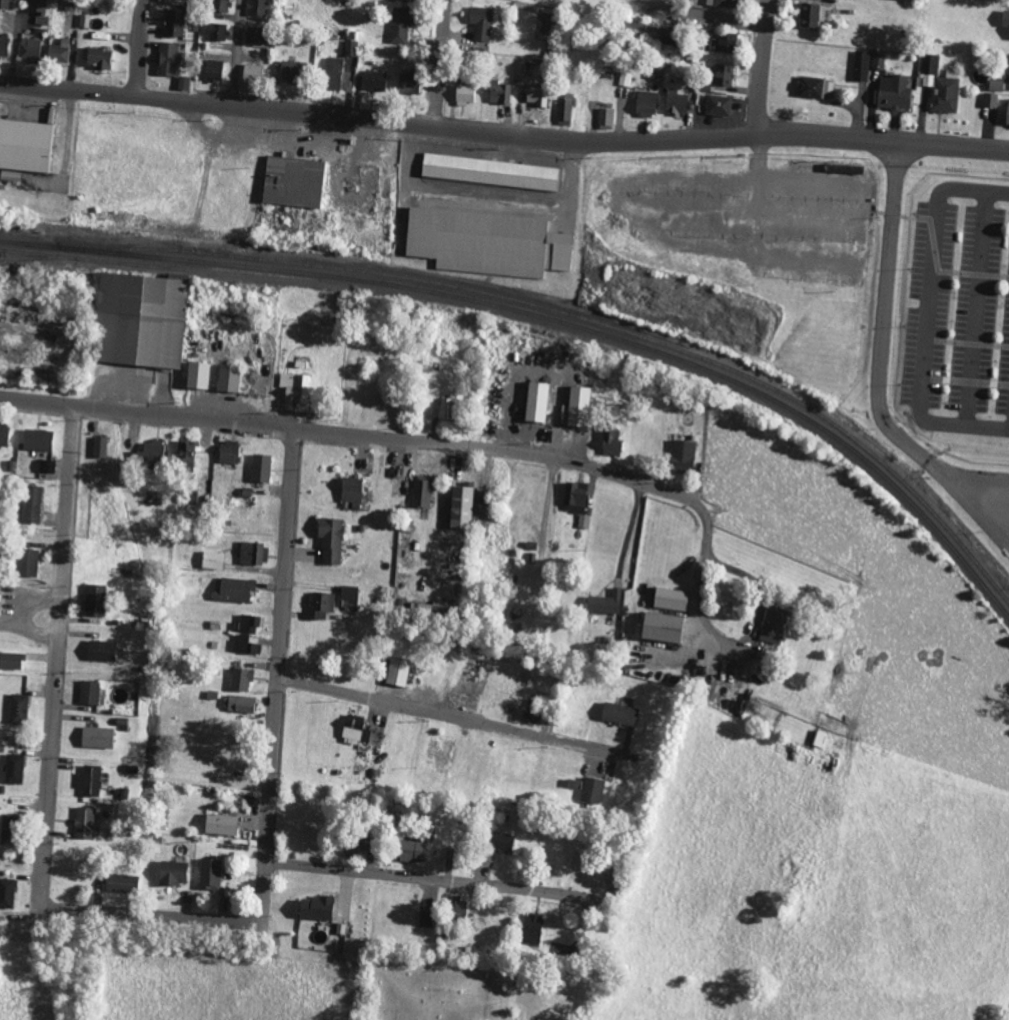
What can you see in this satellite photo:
building: (174, 2)
building: (727, 3)
building: (4, 5)
building: (36, 6)
building: (220, 6)
building: (258, 8)
road: (704, 14)
building: (811, 15)
building: (1005, 19)
building: (172, 23)
building: (480, 23)
building: (401, 24)
building: (634, 28)
building: (216, 32)
building: (254, 36)
building: (664, 36)
building: (721, 43)
building: (4, 46)
road: (141, 48)
building: (28, 49)
building: (351, 49)
building: (58, 52)
road: (239, 53)
building: (99, 58)
building: (167, 59)
building: (878, 61)
road: (444, 63)
building: (861, 66)
road: (765, 67)
building: (212, 70)
building: (288, 71)
building: (253, 72)
building: (336, 72)
building: (722, 75)
building: (374, 81)
building: (407, 83)
building: (940, 85)
building: (996, 85)
building: (814, 88)
building: (499, 93)
building: (893, 93)
building: (463, 95)
building: (534, 97)
building: (990, 100)
building: (675, 102)
building: (644, 104)
building: (718, 105)
building: (565, 111)
building: (1007, 113)
building: (605, 118)
road: (503, 134)
building: (26, 145)
building: (489, 171)
building: (292, 180)
building: (486, 242)
railway: (34, 257)
railway: (173, 268)
parking lot: (958, 310)
road: (930, 314)
railway: (552, 318)
railway: (583, 318)
building: (138, 319)
building: (196, 374)
building: (227, 377)
building: (294, 387)
building: (536, 401)
building: (449, 405)
building: (577, 405)
road: (349, 432)
building: (4, 434)
building: (37, 439)
building: (610, 441)
building: (150, 451)
building: (227, 452)
building: (185, 455)
building: (681, 455)
building: (46, 466)
building: (260, 467)
road: (697, 481)
building: (203, 484)
building: (351, 489)
building: (421, 491)
building: (575, 497)
building: (31, 503)
building: (460, 506)
building: (584, 521)
building: (330, 540)
building: (253, 553)
building: (212, 560)
building: (27, 562)
road: (700, 583)
building: (233, 589)
building: (348, 594)
building: (669, 598)
building: (93, 600)
building: (604, 602)
building: (321, 603)
building: (249, 623)
building: (772, 624)
building: (660, 626)
road: (60, 642)
building: (245, 644)
building: (99, 650)
building: (11, 660)
road: (280, 671)
building: (397, 671)
building: (241, 678)
building: (88, 692)
building: (239, 703)
building: (17, 708)
building: (618, 713)
road: (448, 714)
building: (354, 729)
building: (95, 737)
building: (14, 768)
building: (89, 780)
building: (591, 790)
building: (83, 822)
building: (219, 824)
building: (500, 841)
building: (351, 845)
building: (411, 850)
building: (172, 872)
building: (209, 874)
road: (408, 875)
building: (119, 882)
building: (6, 892)
building: (314, 907)
building: (457, 908)
road: (142, 913)
building: (426, 918)
building: (531, 928)

